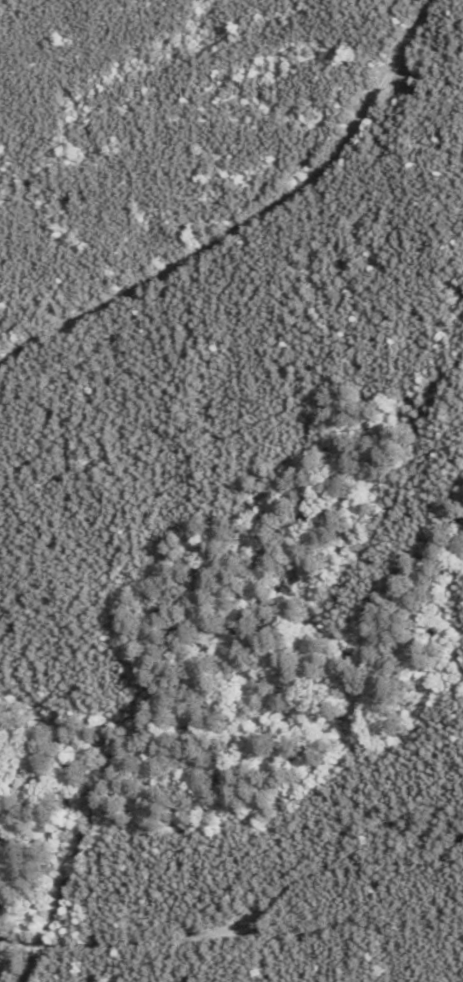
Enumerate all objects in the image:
road: (236, 239)

